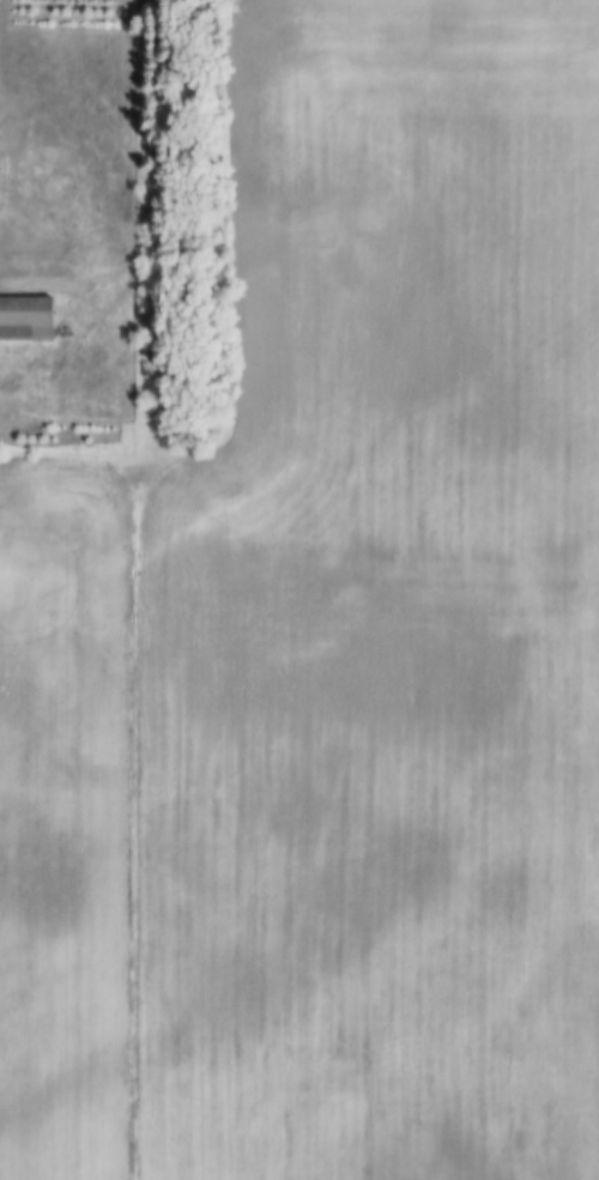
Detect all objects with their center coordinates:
building: (25, 321)

